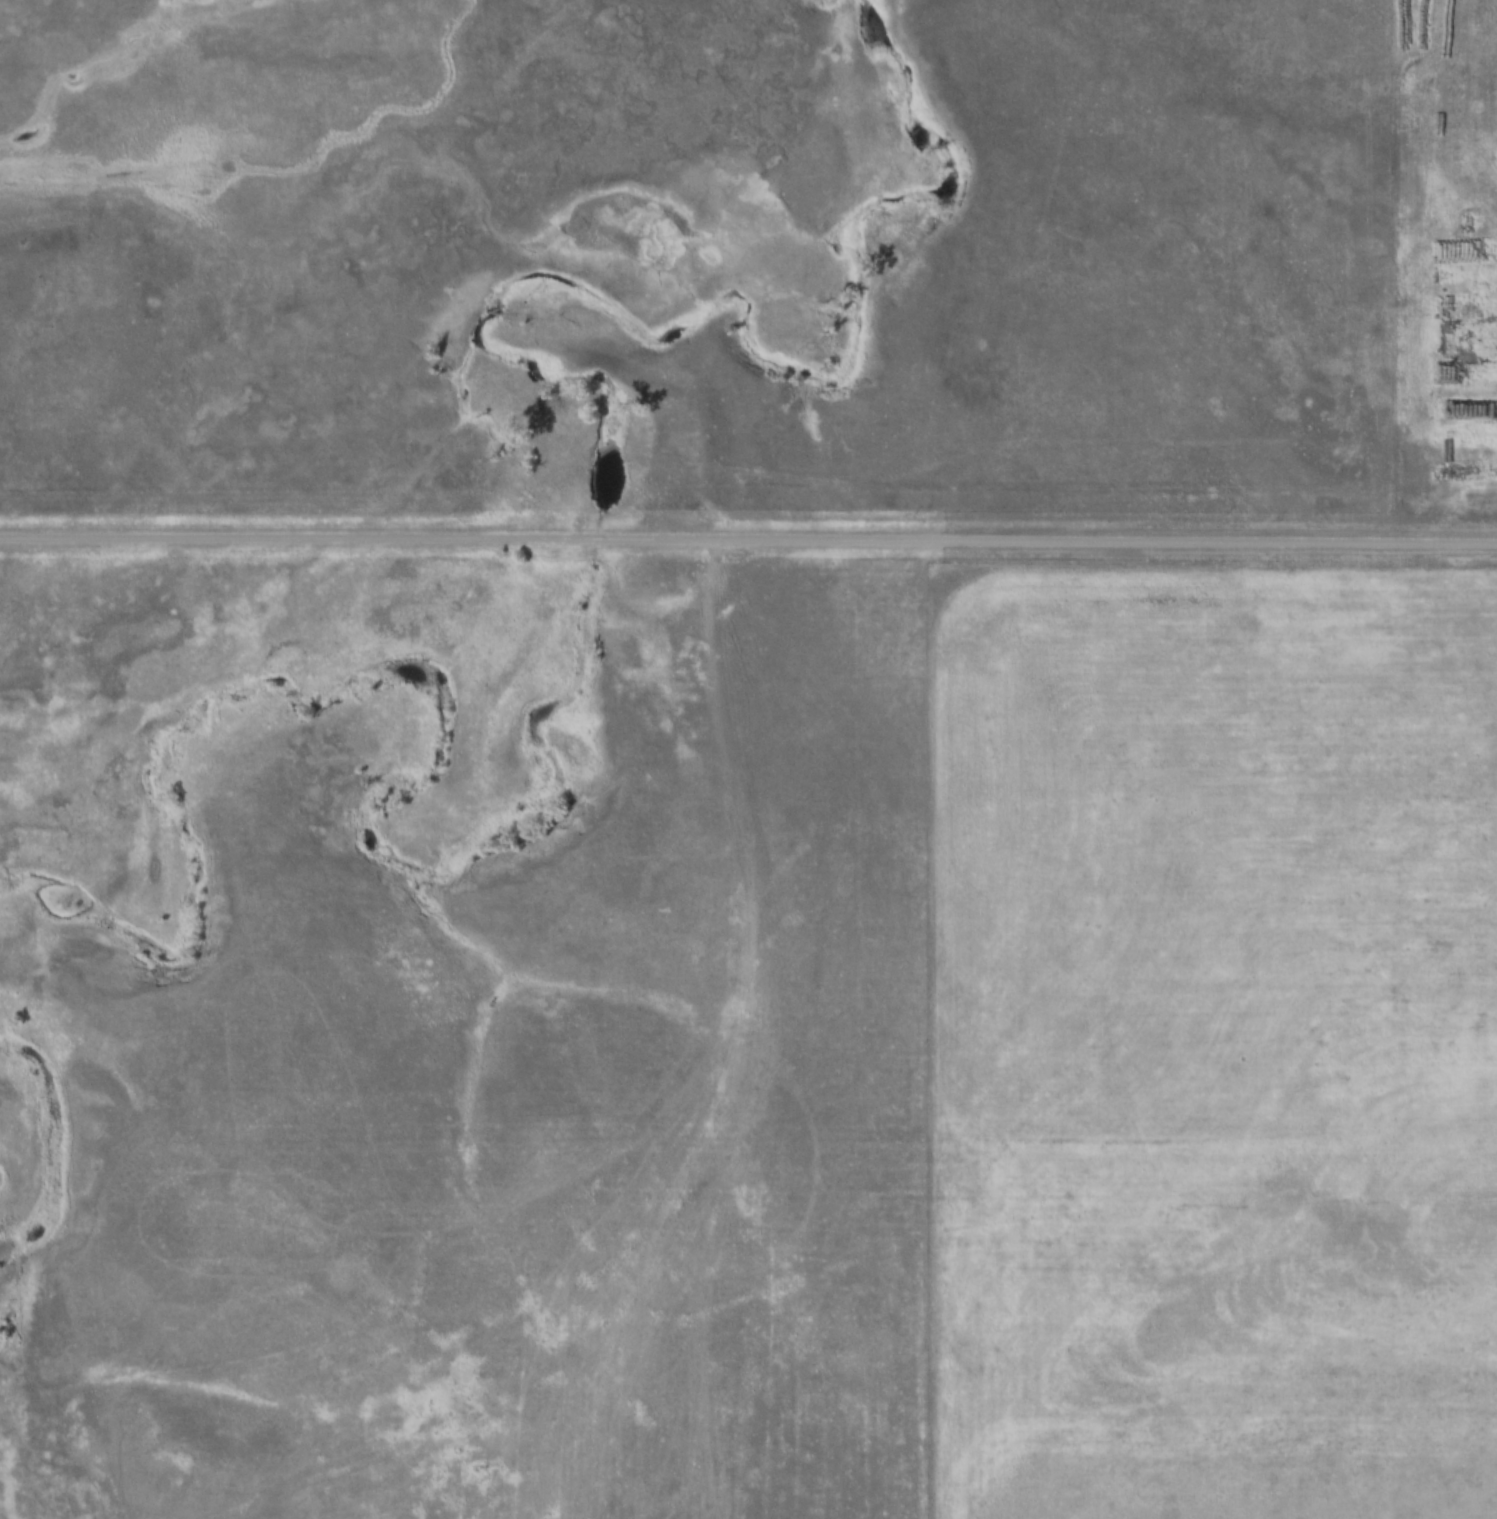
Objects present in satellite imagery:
road: (748, 537)

